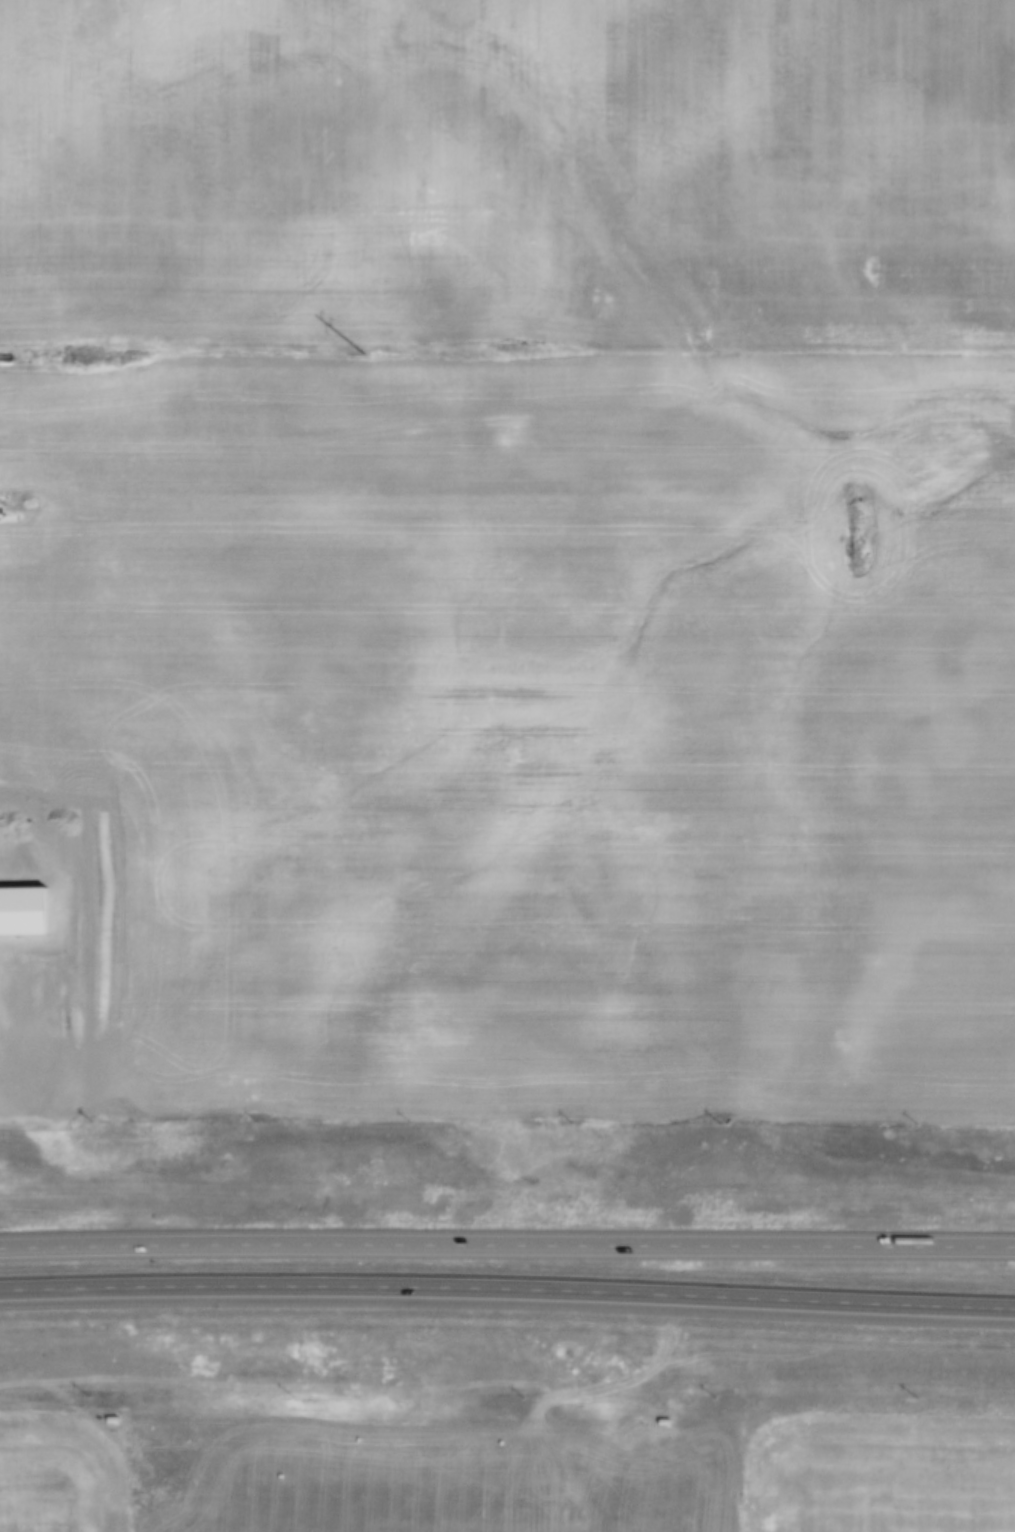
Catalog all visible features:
power tower: (361, 352)
road: (507, 1243)
road: (507, 1289)

